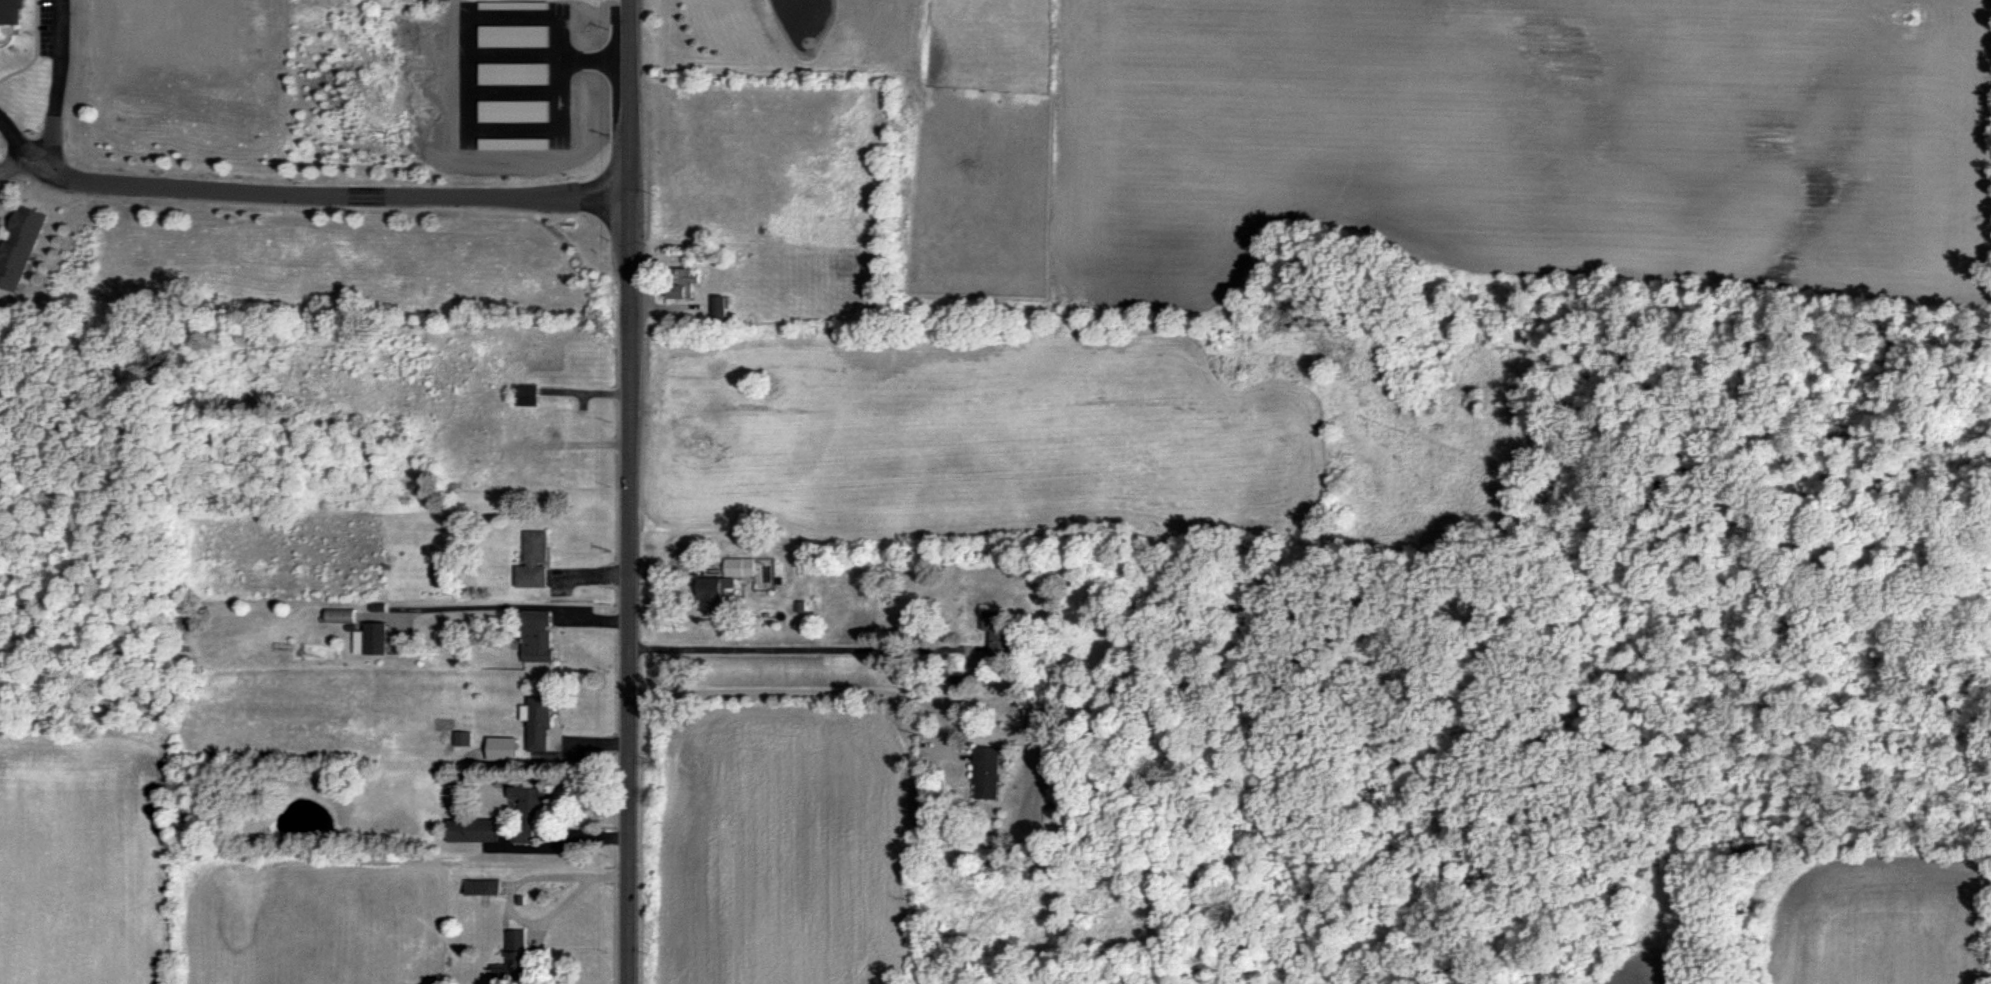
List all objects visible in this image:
building: (9, 11)
road: (568, 77)
road: (56, 80)
road: (632, 97)
building: (550, 101)
road: (12, 134)
crop: (1522, 140)
road: (13, 161)
road: (325, 195)
road: (10, 211)
building: (0, 218)
road: (2, 219)
road: (6, 226)
road: (2, 242)
building: (20, 248)
building: (685, 283)
building: (723, 310)
building: (553, 363)
building: (528, 395)
building: (528, 457)
building: (536, 560)
building: (741, 567)
road: (632, 590)
building: (715, 593)
building: (341, 615)
building: (999, 631)
building: (540, 637)
building: (373, 639)
road: (805, 648)
road: (804, 696)
building: (540, 723)
building: (463, 738)
building: (987, 772)
building: (530, 808)
building: (475, 831)
crop: (85, 848)
building: (487, 889)
crop: (1873, 922)
crop: (1641, 942)
building: (515, 961)

